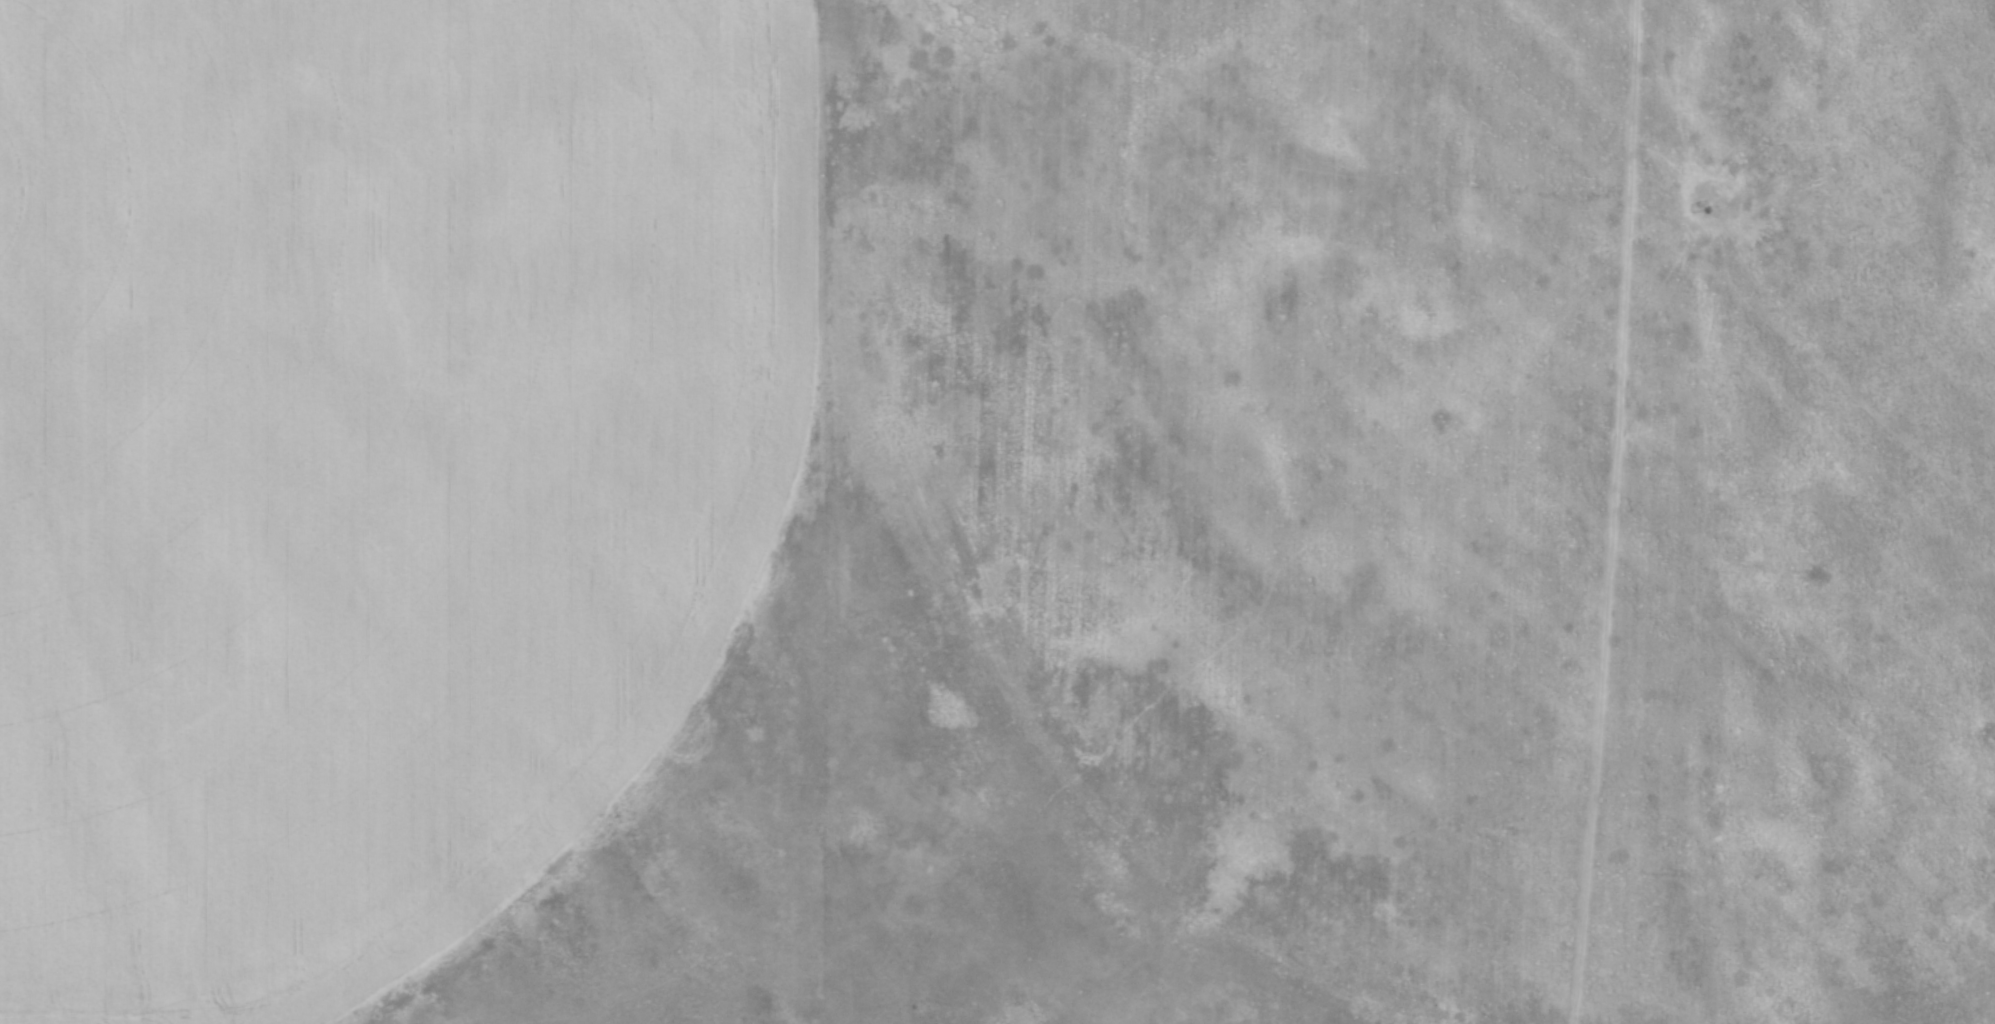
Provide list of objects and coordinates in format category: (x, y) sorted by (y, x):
road: (1568, 248)

